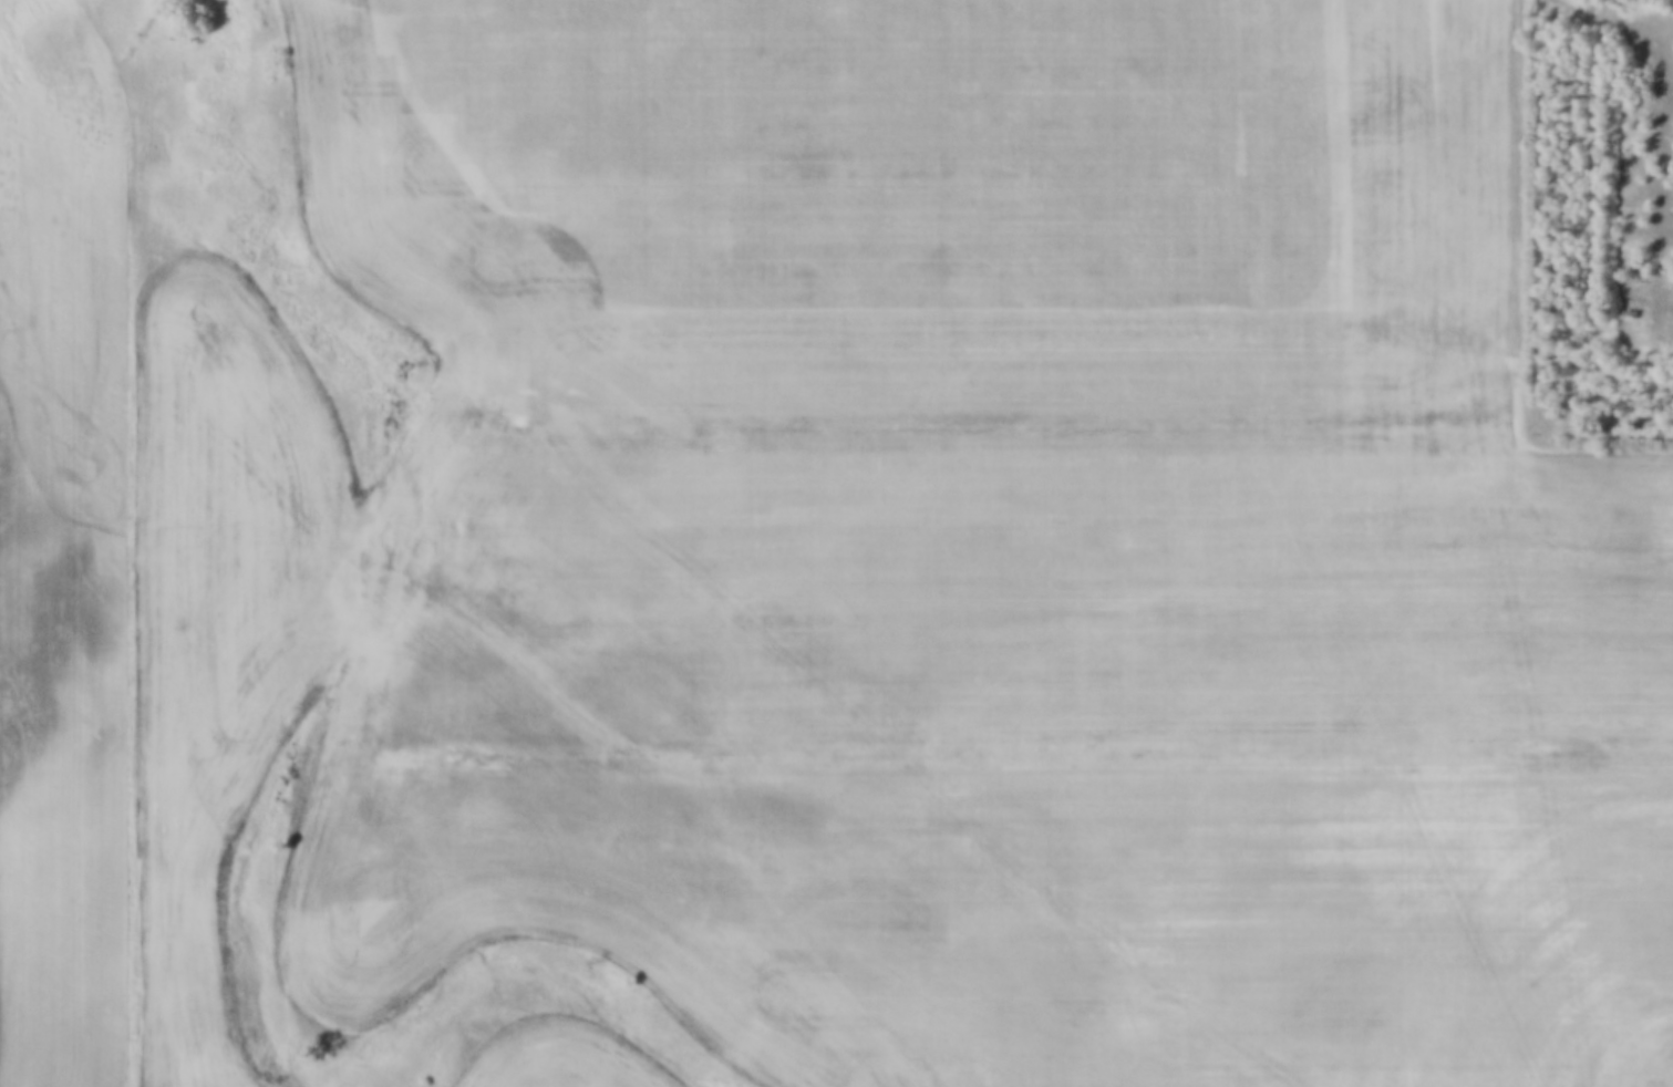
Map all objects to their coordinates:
building: (1672, 104)
building: (1625, 307)

